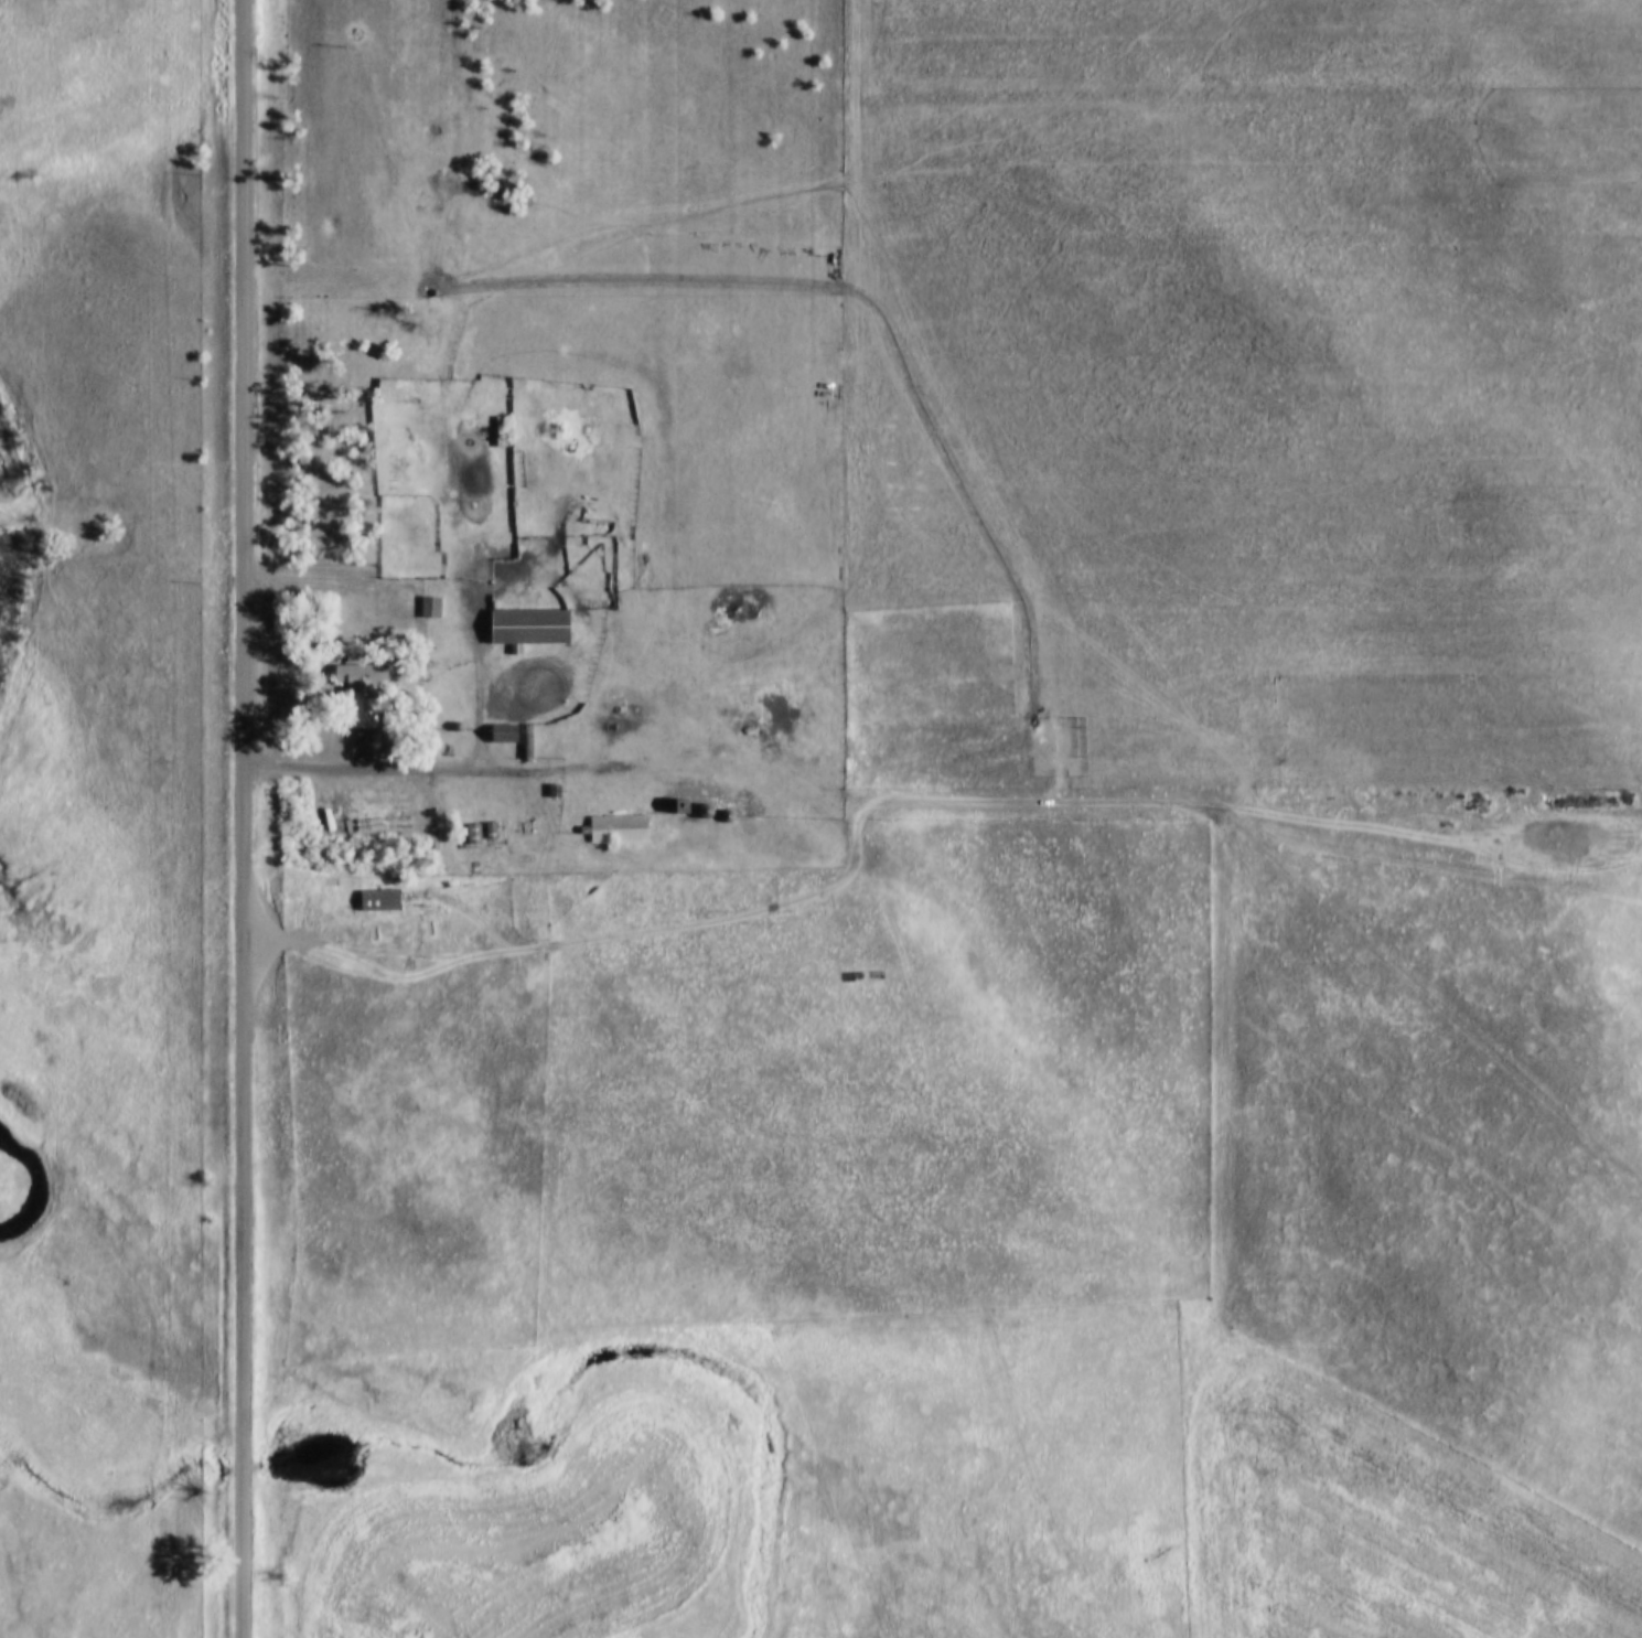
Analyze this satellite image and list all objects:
building: (398, 378)
road: (312, 587)
building: (431, 596)
building: (526, 615)
building: (358, 682)
building: (503, 721)
road: (416, 774)
road: (1183, 806)
building: (619, 817)
road: (247, 818)
building: (378, 888)

